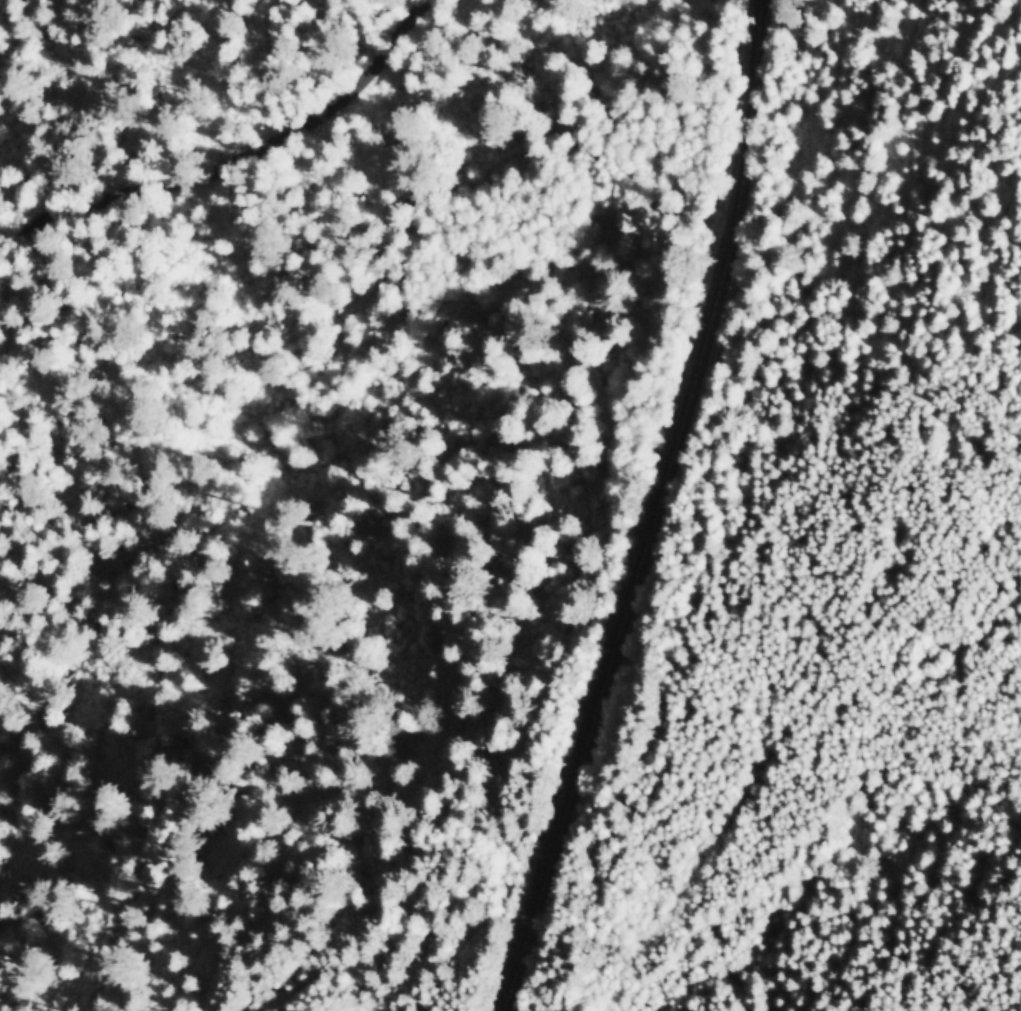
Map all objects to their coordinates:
road: (240, 155)
road: (650, 510)
road: (160, 653)
road: (344, 986)

